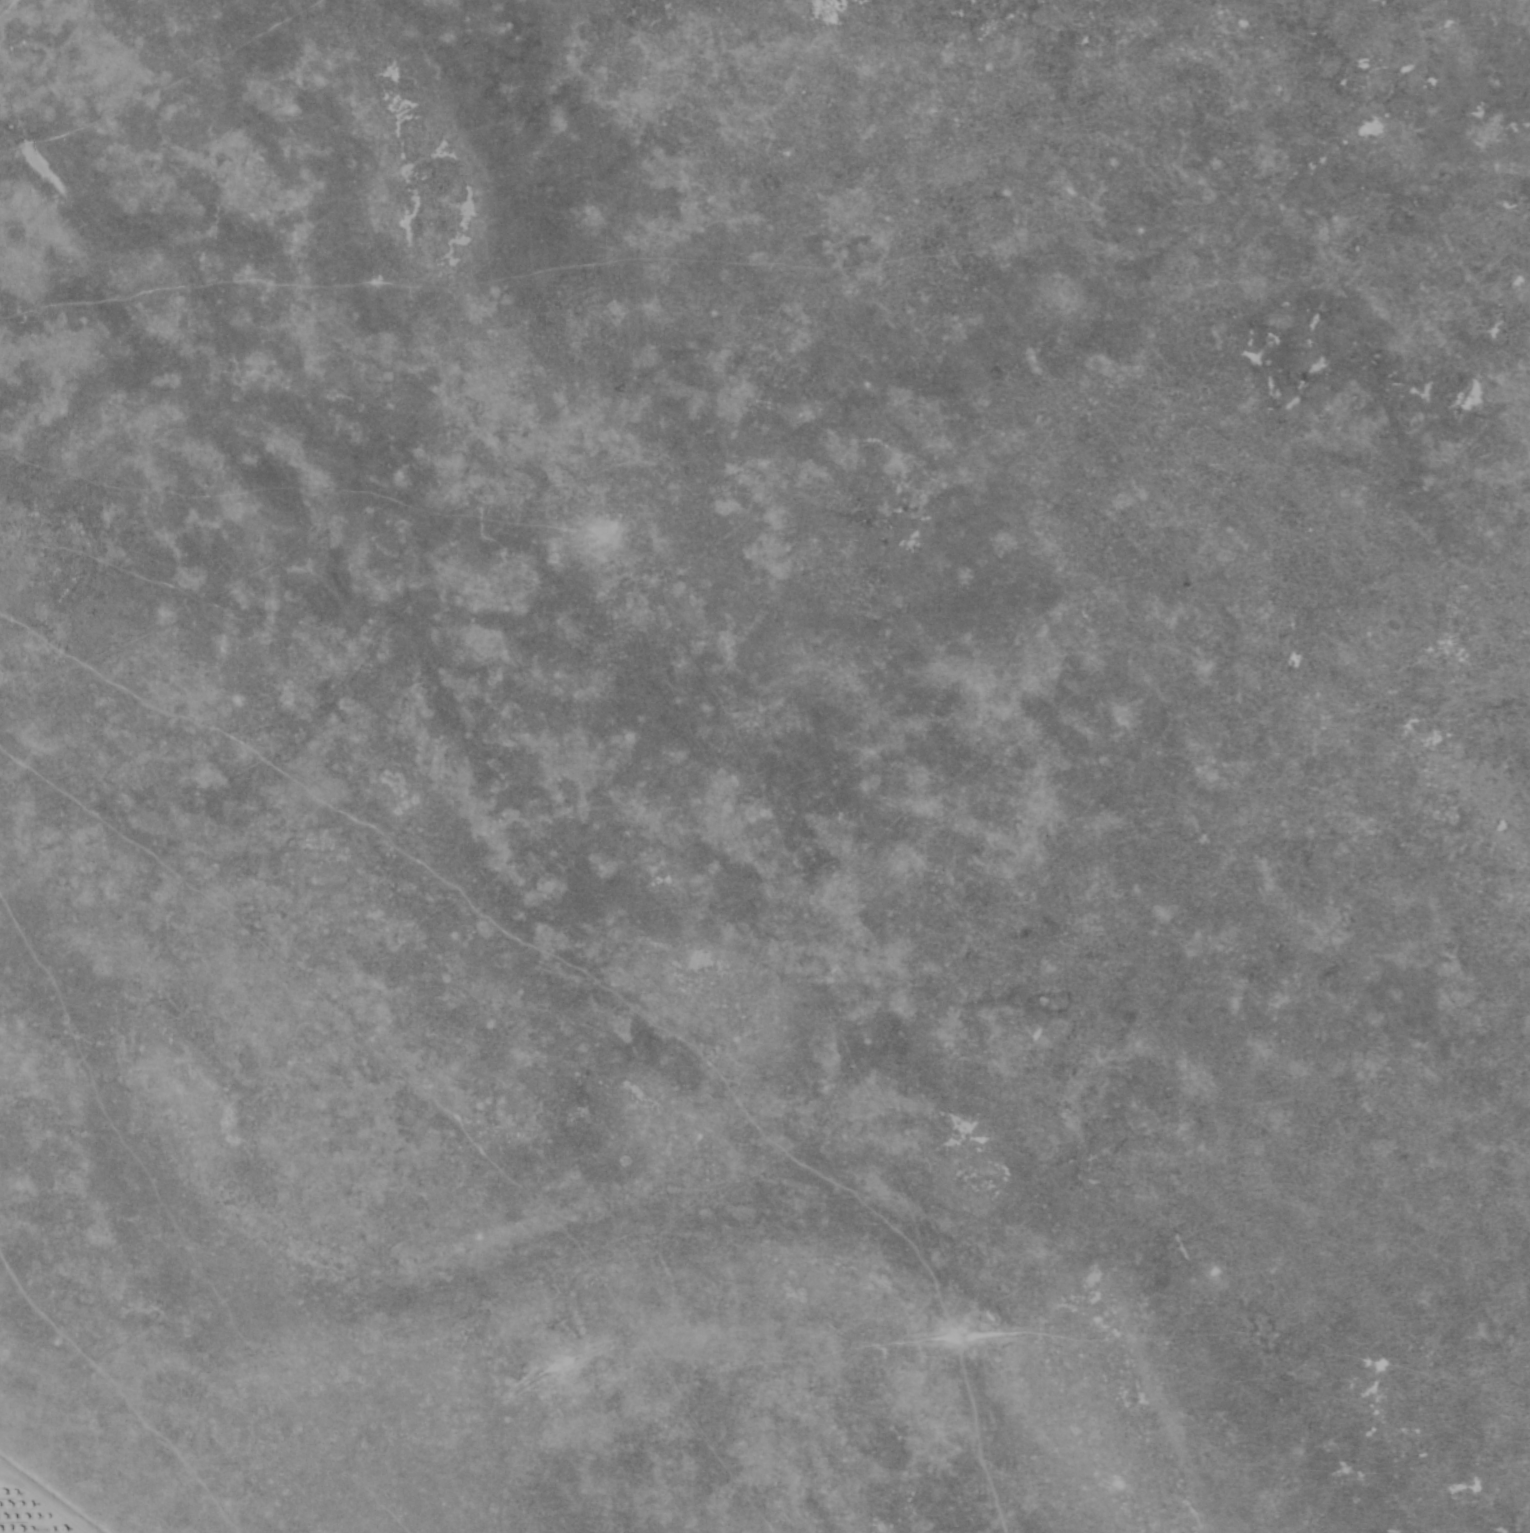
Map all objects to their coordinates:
crop: (33, 1508)

